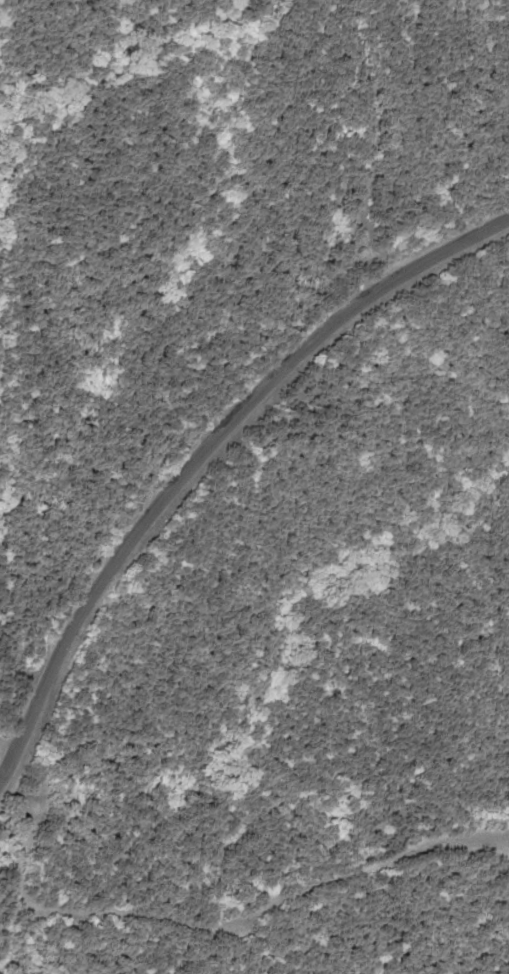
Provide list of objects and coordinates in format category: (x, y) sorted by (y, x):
road: (181, 439)

